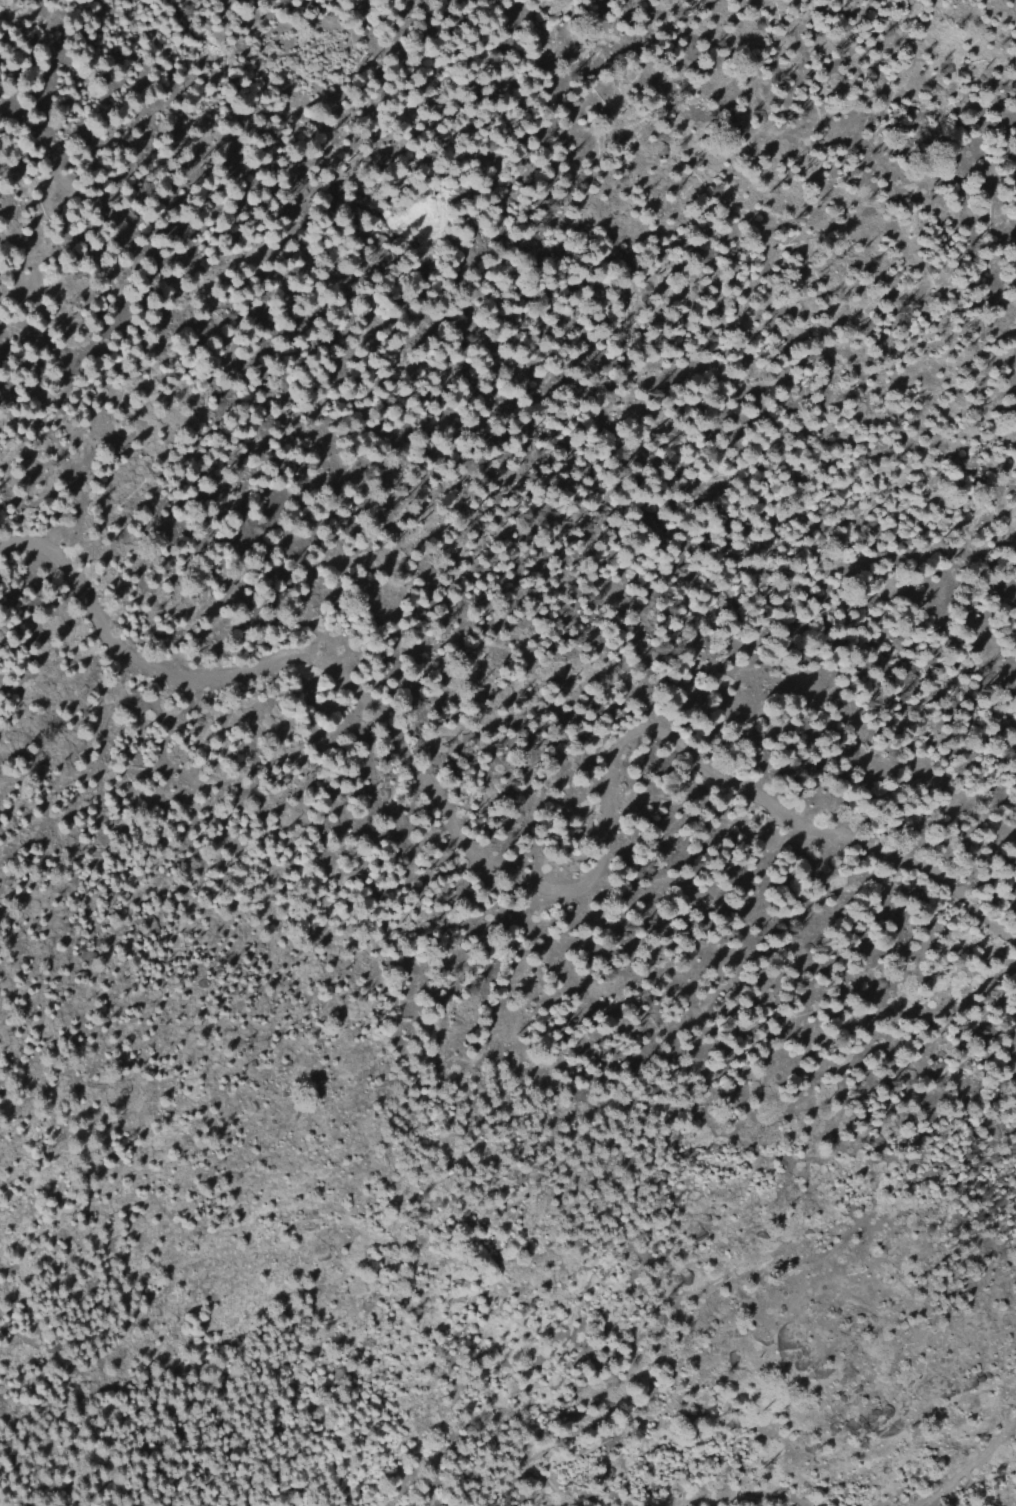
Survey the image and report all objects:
road: (487, 851)
road: (1014, 1504)

